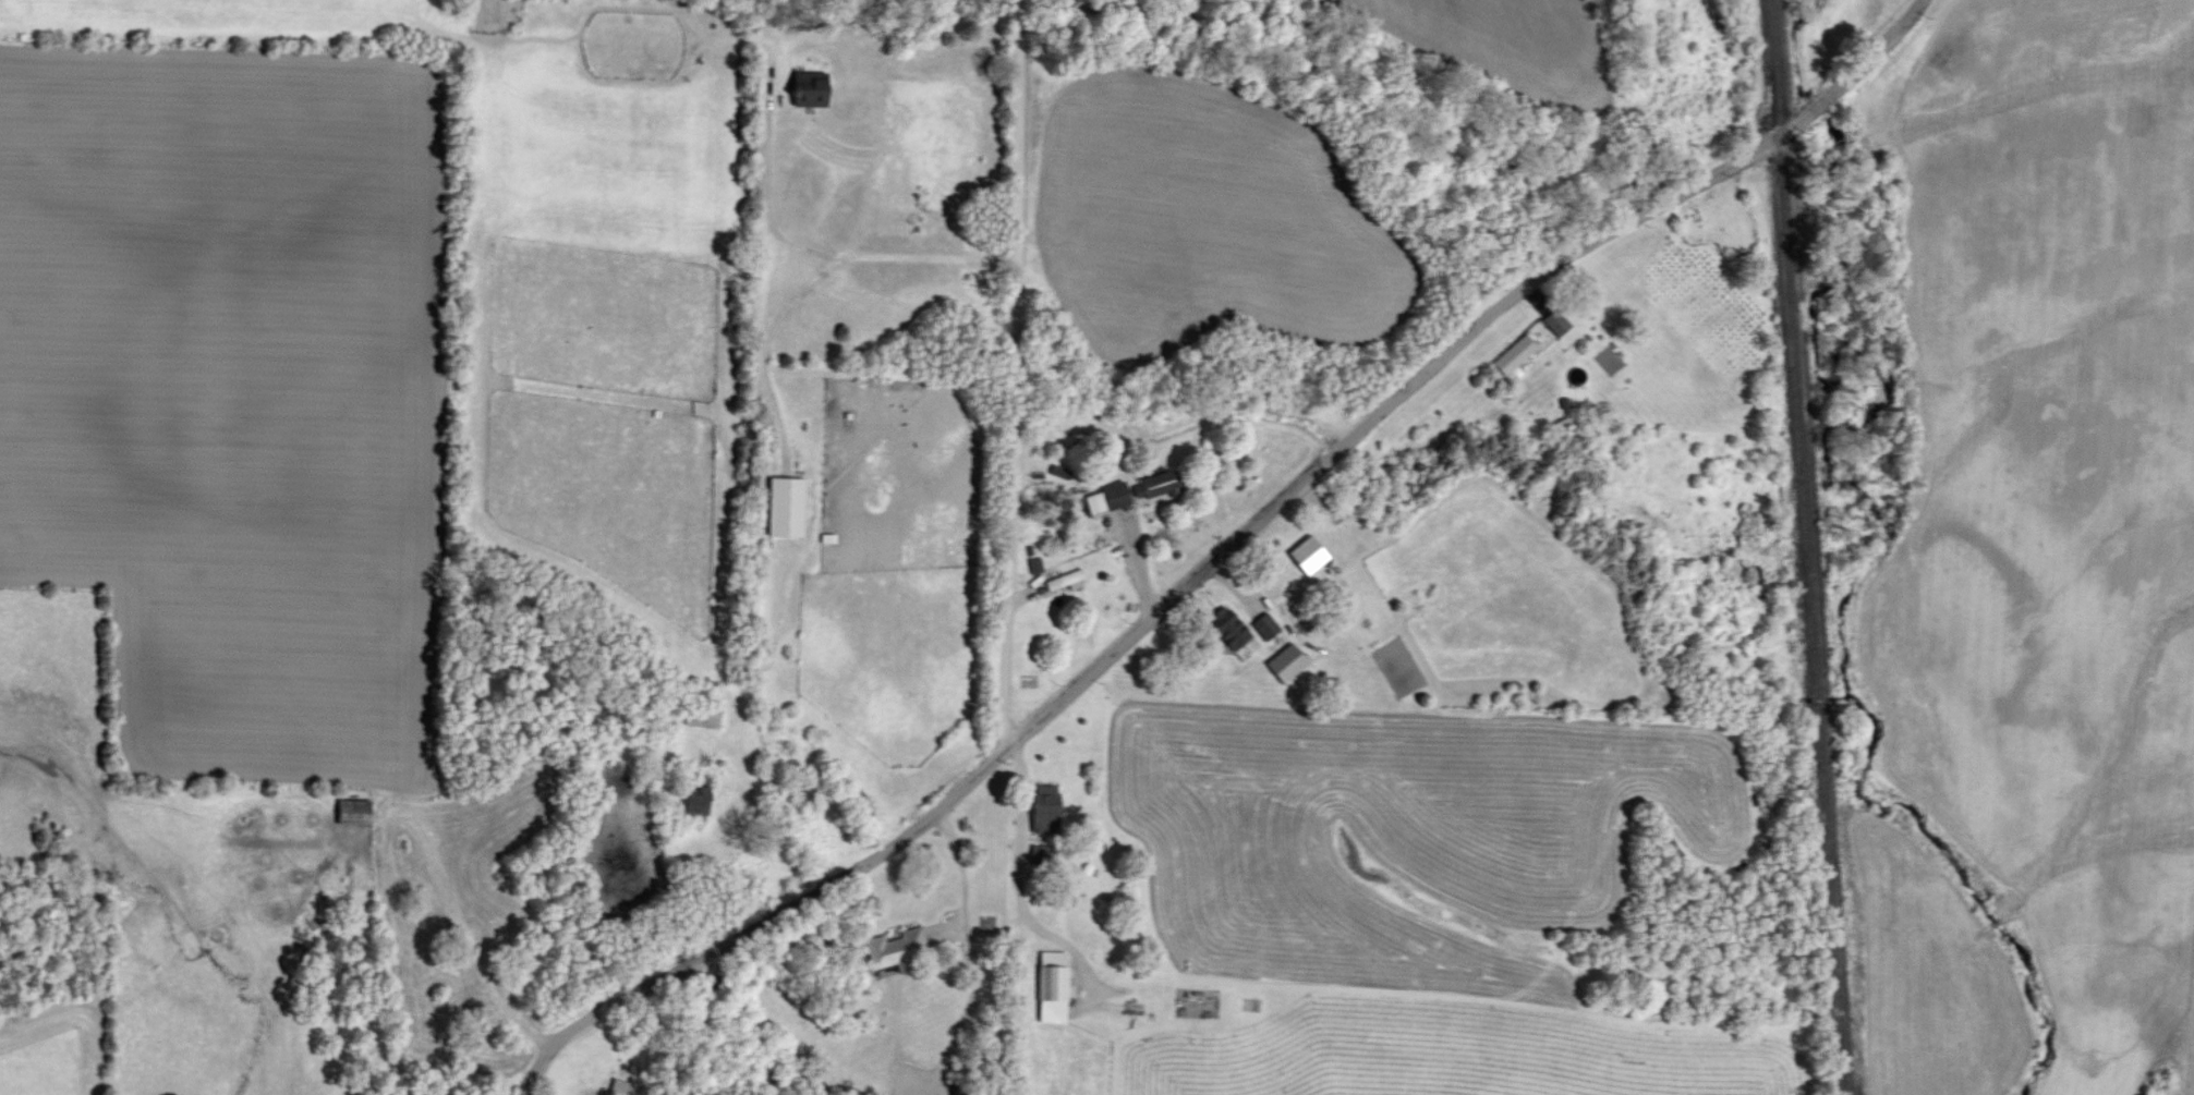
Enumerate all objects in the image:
building: (813, 88)
road: (828, 252)
building: (1559, 321)
building: (1516, 353)
road: (1014, 372)
building: (1157, 484)
building: (1110, 497)
building: (788, 506)
road: (1229, 546)
railway: (1807, 547)
building: (1311, 553)
building: (1067, 580)
building: (1265, 625)
building: (1232, 626)
building: (1288, 662)
building: (1047, 807)
building: (356, 811)
building: (1043, 854)
road: (961, 890)
road: (469, 941)
building: (898, 950)
building: (1055, 986)
road: (525, 1086)
building: (965, 1092)

